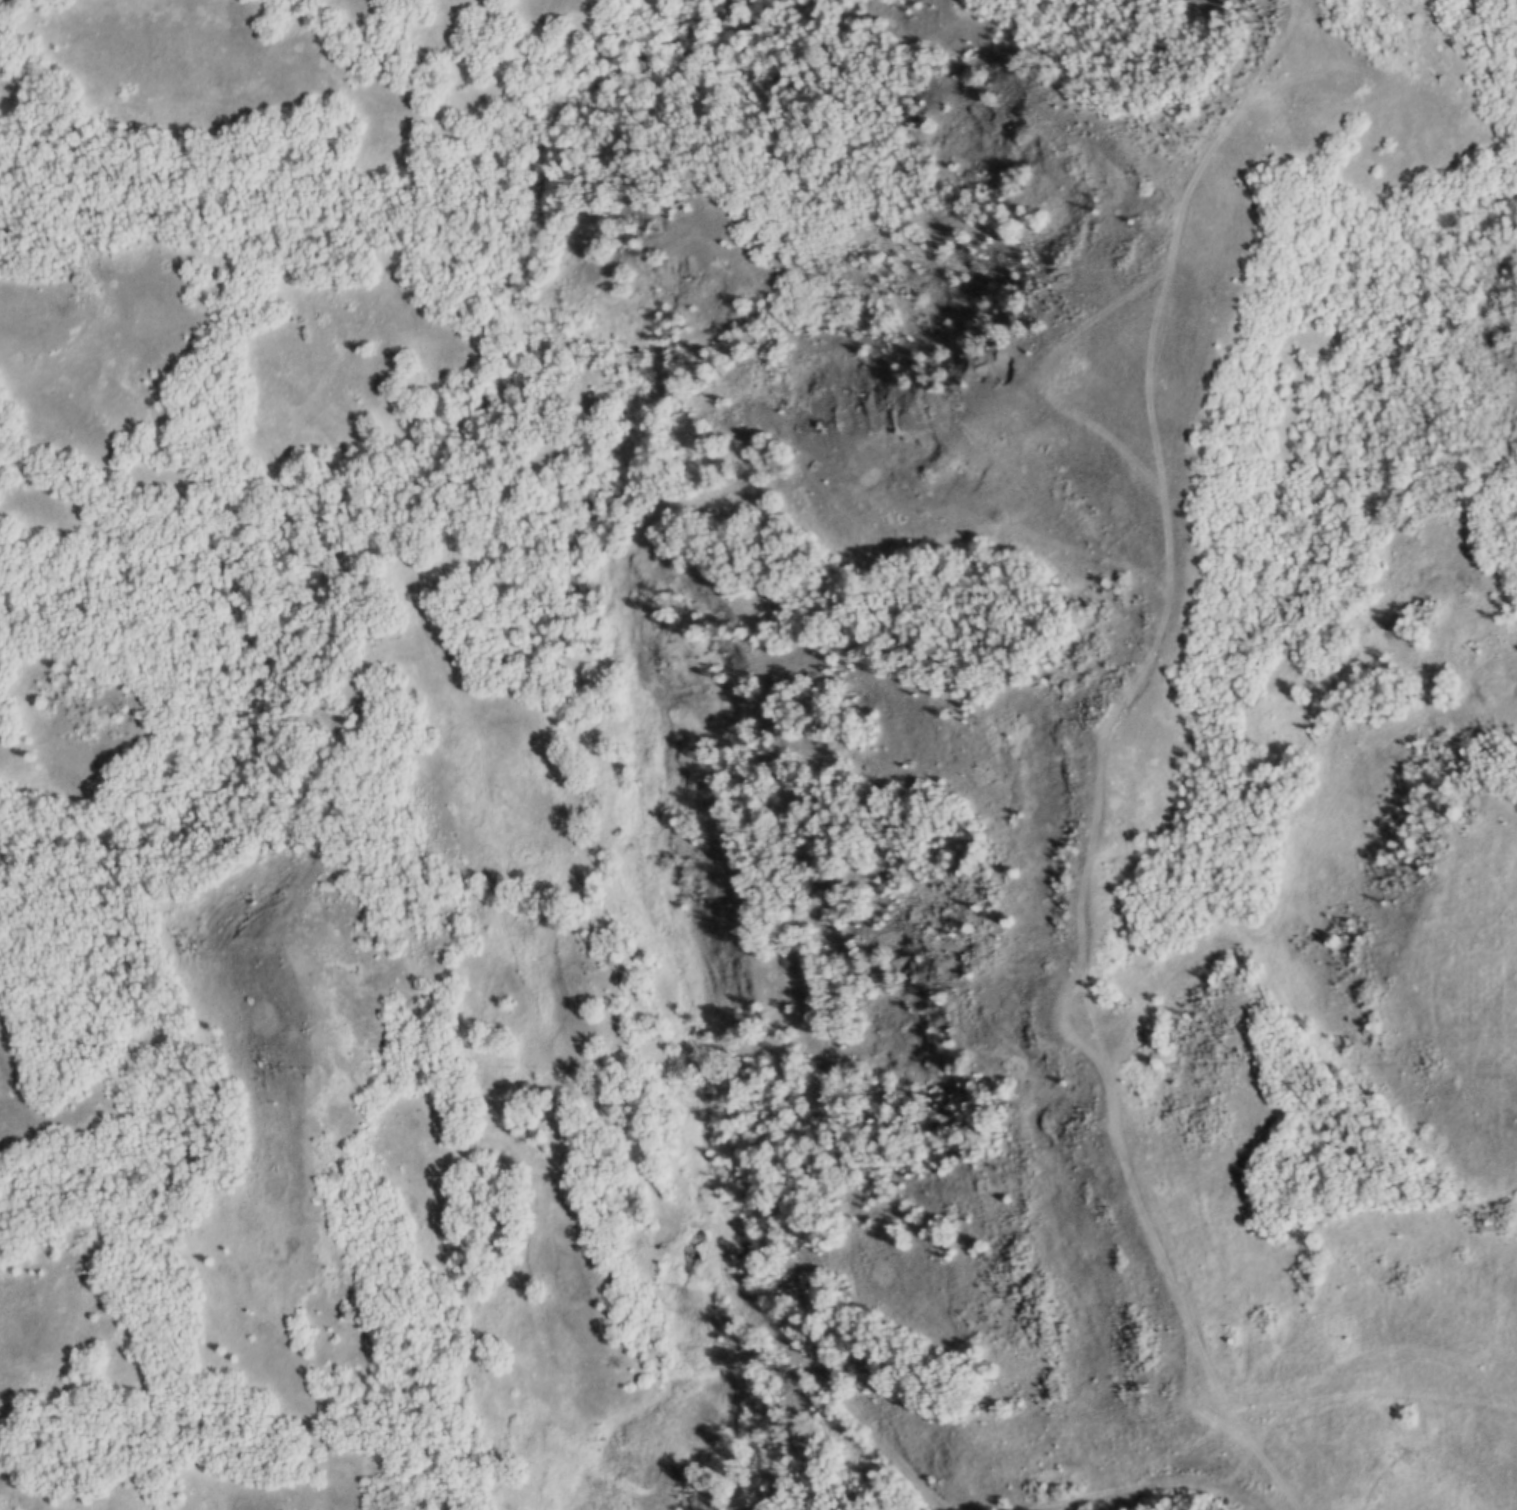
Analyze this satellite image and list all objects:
road: (1097, 764)

